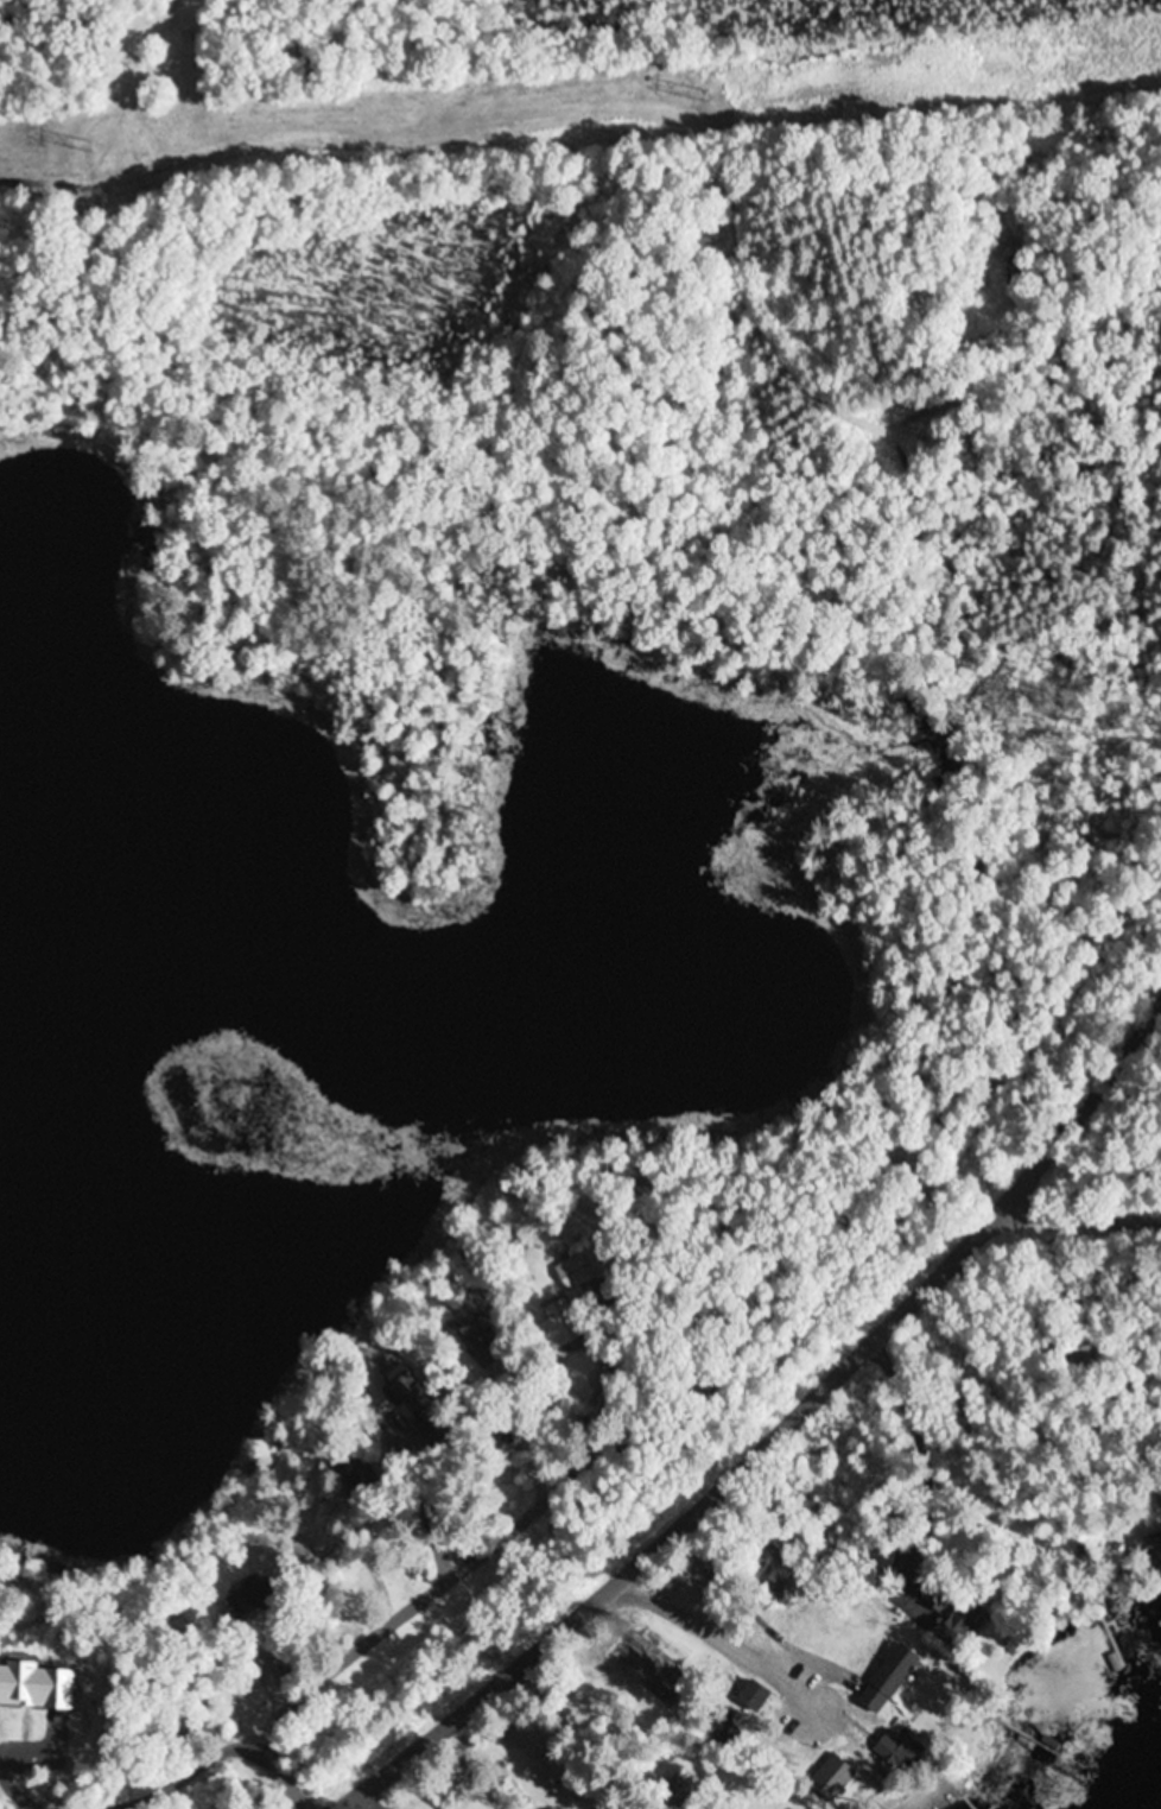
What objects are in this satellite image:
power tower: (709, 95)
power tower: (91, 146)
road: (971, 719)
road: (1083, 1220)
building: (576, 1273)
building: (559, 1327)
road: (778, 1434)
building: (501, 1440)
building: (355, 1478)
building: (1148, 1552)
building: (878, 1556)
road: (804, 1594)
building: (935, 1594)
building: (247, 1601)
building: (962, 1626)
building: (753, 1699)
road: (274, 1701)
building: (893, 1756)
road: (273, 1766)
building: (832, 1779)
building: (672, 1790)

